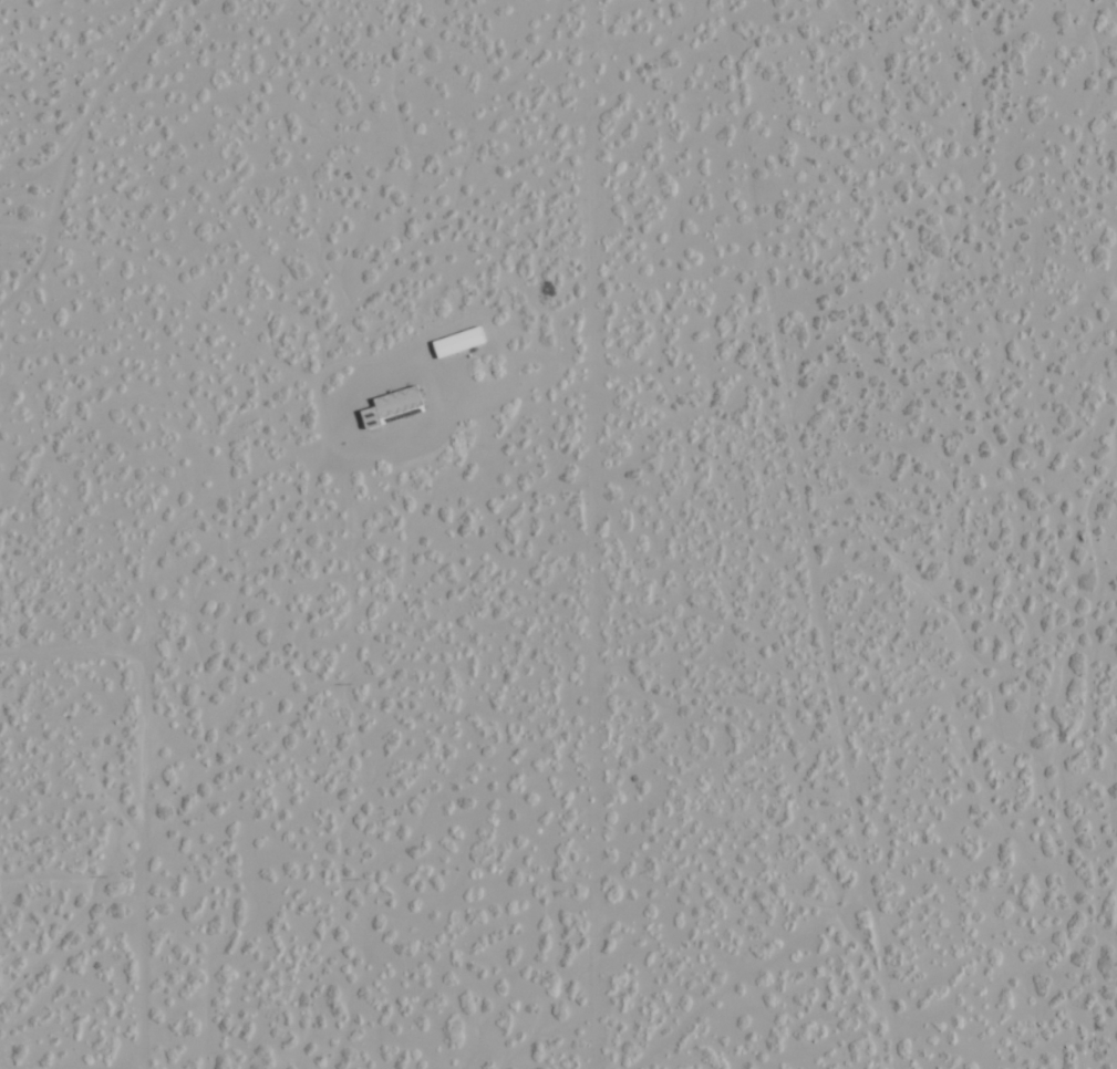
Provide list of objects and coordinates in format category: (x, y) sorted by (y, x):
road: (91, 117)
road: (8, 222)
road: (21, 263)
building: (458, 341)
building: (397, 399)
road: (963, 702)
road: (841, 896)

